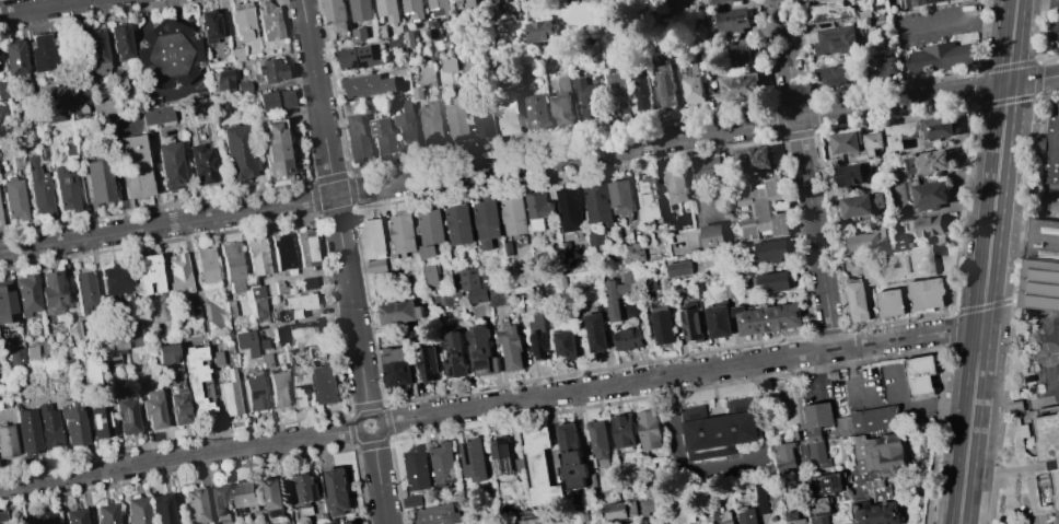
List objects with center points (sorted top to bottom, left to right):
building: (714, 1)
building: (944, 2)
building: (468, 3)
rooftop solar panel: (464, 4)
road: (1037, 4)
road: (43, 7)
building: (439, 8)
building: (415, 9)
building: (361, 10)
building: (387, 10)
building: (828, 12)
building: (336, 14)
building: (267, 20)
building: (734, 20)
building: (242, 21)
road: (961, 22)
building: (208, 26)
parking lot: (1055, 28)
building: (540, 30)
building: (433, 31)
building: (358, 34)
building: (409, 37)
building: (836, 40)
building: (118, 42)
building: (94, 49)
building: (43, 51)
building: (166, 54)
building: (235, 54)
building: (744, 55)
building: (362, 57)
building: (939, 57)
building: (12, 58)
building: (449, 63)
building: (882, 67)
building: (468, 69)
building: (269, 70)
rooftop solar panel: (691, 71)
building: (836, 74)
building: (222, 81)
building: (118, 82)
building: (693, 83)
traffic signals: (1009, 83)
building: (369, 84)
building: (664, 85)
building: (242, 86)
building: (741, 86)
building: (2, 90)
building: (642, 91)
building: (418, 93)
building: (617, 93)
building: (586, 96)
building: (274, 101)
building: (54, 104)
building: (79, 104)
building: (562, 104)
building: (103, 107)
building: (535, 112)
building: (2, 114)
building: (509, 114)
building: (155, 115)
building: (457, 119)
building: (482, 119)
building: (432, 121)
building: (406, 127)
building: (918, 131)
building: (382, 137)
building: (356, 138)
building: (846, 142)
building: (873, 142)
building: (272, 148)
building: (238, 151)
building: (1051, 154)
building: (754, 160)
road: (528, 162)
building: (927, 162)
building: (16, 163)
building: (200, 164)
building: (131, 166)
building: (168, 166)
building: (707, 167)
road: (806, 174)
building: (851, 174)
building: (97, 183)
building: (674, 186)
building: (37, 188)
building: (65, 189)
building: (622, 196)
building: (931, 196)
building: (650, 198)
building: (13, 199)
building: (600, 201)
building: (862, 203)
road: (335, 206)
building: (539, 208)
building: (571, 209)
building: (763, 209)
building: (513, 214)
building: (0, 222)
building: (487, 222)
building: (0, 224)
building: (458, 224)
building: (927, 226)
building: (430, 228)
building: (403, 232)
building: (714, 236)
building: (596, 237)
building: (868, 242)
building: (374, 245)
building: (305, 247)
building: (769, 251)
building: (282, 252)
building: (636, 253)
building: (256, 256)
road: (989, 261)
building: (206, 264)
building: (910, 264)
building: (1041, 265)
building: (232, 267)
building: (679, 268)
building: (177, 272)
building: (147, 273)
building: (431, 276)
building: (116, 280)
building: (772, 281)
rooftop solar panel: (928, 282)
building: (732, 286)
building: (279, 288)
building: (480, 289)
building: (49, 290)
rooftop solar panel: (891, 290)
building: (83, 291)
building: (618, 292)
building: (928, 292)
building: (27, 295)
building: (449, 299)
building: (858, 299)
building: (257, 302)
building: (891, 302)
building: (5, 303)
building: (296, 307)
building: (403, 311)
building: (769, 318)
building: (719, 321)
building: (663, 324)
building: (694, 324)
building: (596, 331)
building: (296, 334)
building: (539, 335)
building: (124, 337)
building: (628, 338)
building: (245, 342)
building: (566, 343)
building: (513, 348)
building: (482, 349)
rooftop solar panel: (453, 350)
building: (31, 353)
building: (455, 353)
building: (165, 354)
building: (15, 357)
building: (108, 358)
building: (217, 358)
rooftop solar panel: (486, 359)
building: (62, 361)
building: (430, 363)
building: (397, 365)
rooftop solar panel: (488, 366)
rooftop solar panel: (454, 368)
road: (853, 369)
road: (682, 374)
road: (821, 374)
building: (921, 374)
building: (328, 383)
building: (198, 384)
building: (305, 388)
building: (280, 389)
rooftop solar panel: (255, 392)
building: (254, 393)
building: (229, 394)
building: (177, 405)
road: (918, 405)
building: (151, 408)
rooftop solar panel: (123, 414)
building: (126, 416)
road: (380, 418)
building: (100, 421)
building: (72, 424)
building: (48, 426)
building: (651, 429)
building: (720, 429)
building: (26, 430)
building: (624, 431)
building: (7, 441)
building: (601, 441)
building: (880, 444)
building: (1049, 446)
building: (502, 455)
building: (574, 455)
road: (179, 457)
building: (474, 457)
building: (443, 464)
road: (726, 464)
building: (416, 467)
building: (539, 467)
road: (380, 479)
building: (830, 482)
building: (306, 490)
building: (339, 491)
building: (247, 496)
building: (274, 497)
rooftop solar panel: (214, 500)
building: (761, 500)
building: (219, 504)
building: (650, 504)
building: (193, 506)
building: (160, 509)
building: (621, 509)
building: (822, 509)
building: (136, 510)
building: (104, 513)
building: (878, 513)
building: (437, 514)
building: (747, 515)
building: (2, 516)
building: (72, 516)
building: (726, 517)
building: (795, 517)
building: (44, 519)
building: (535, 520)
building: (18, 522)
building: (351, 522)
building: (120, 523)
rooftop solar panel: (731, 523)
parking lot: (854, 523)

